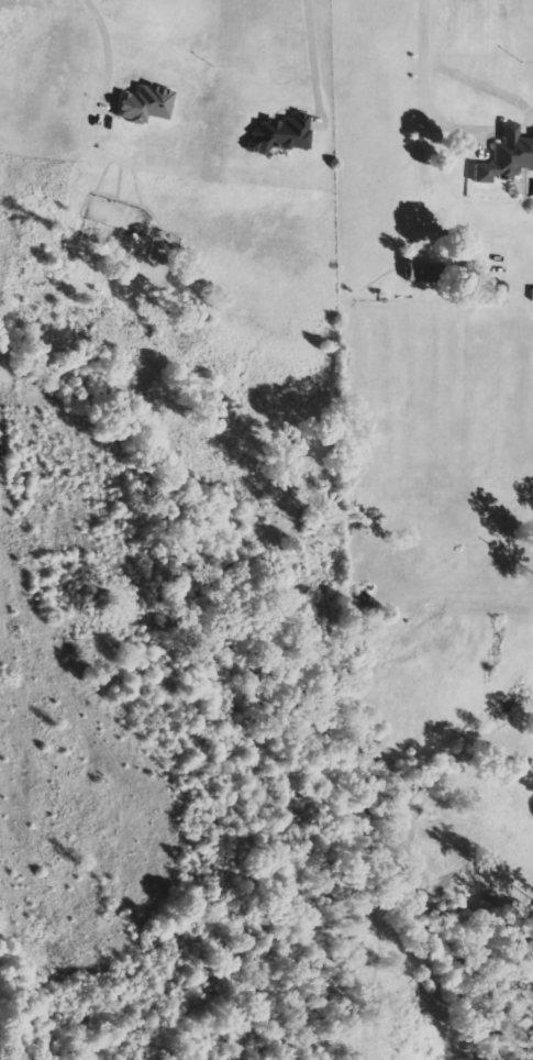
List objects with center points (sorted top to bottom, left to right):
building: (142, 104)
building: (277, 134)
building: (506, 156)
building: (411, 272)

